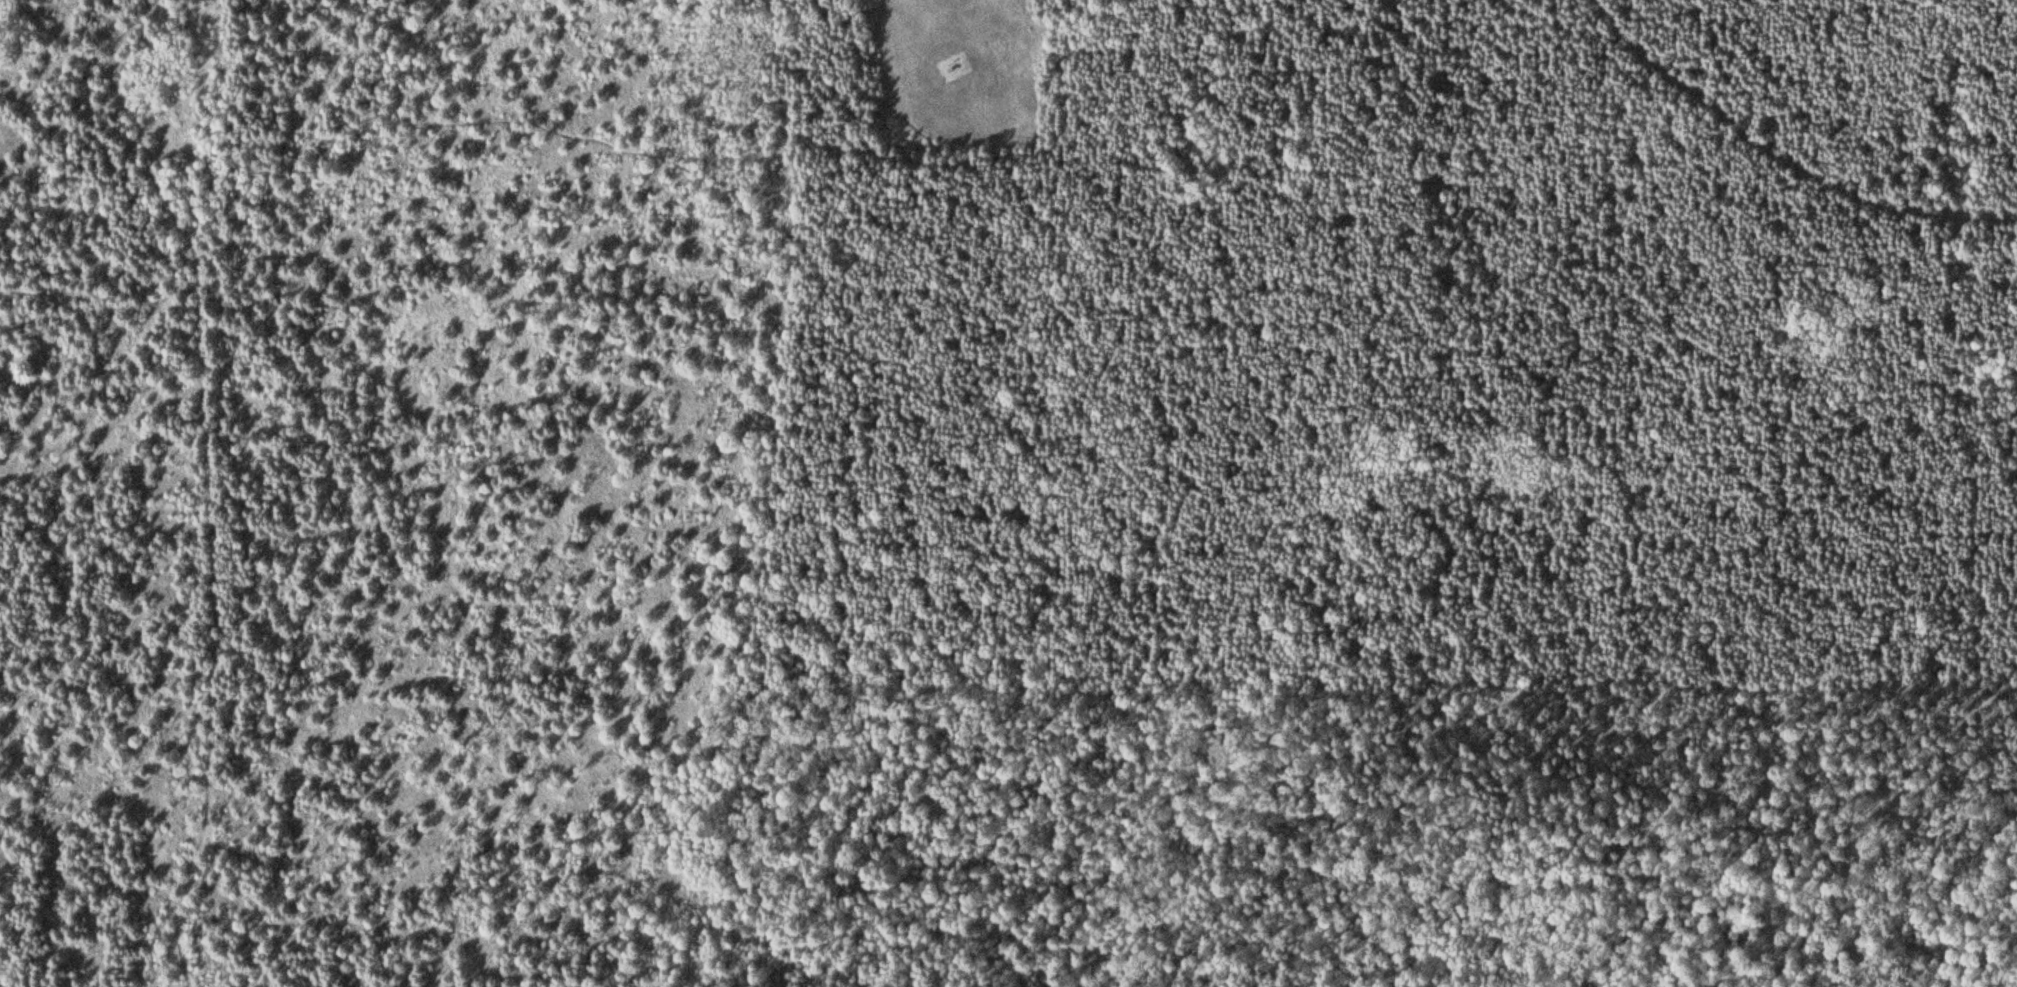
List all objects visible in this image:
road: (911, 28)
petroleum well: (967, 63)
road: (761, 136)
road: (1785, 153)
road: (205, 476)

